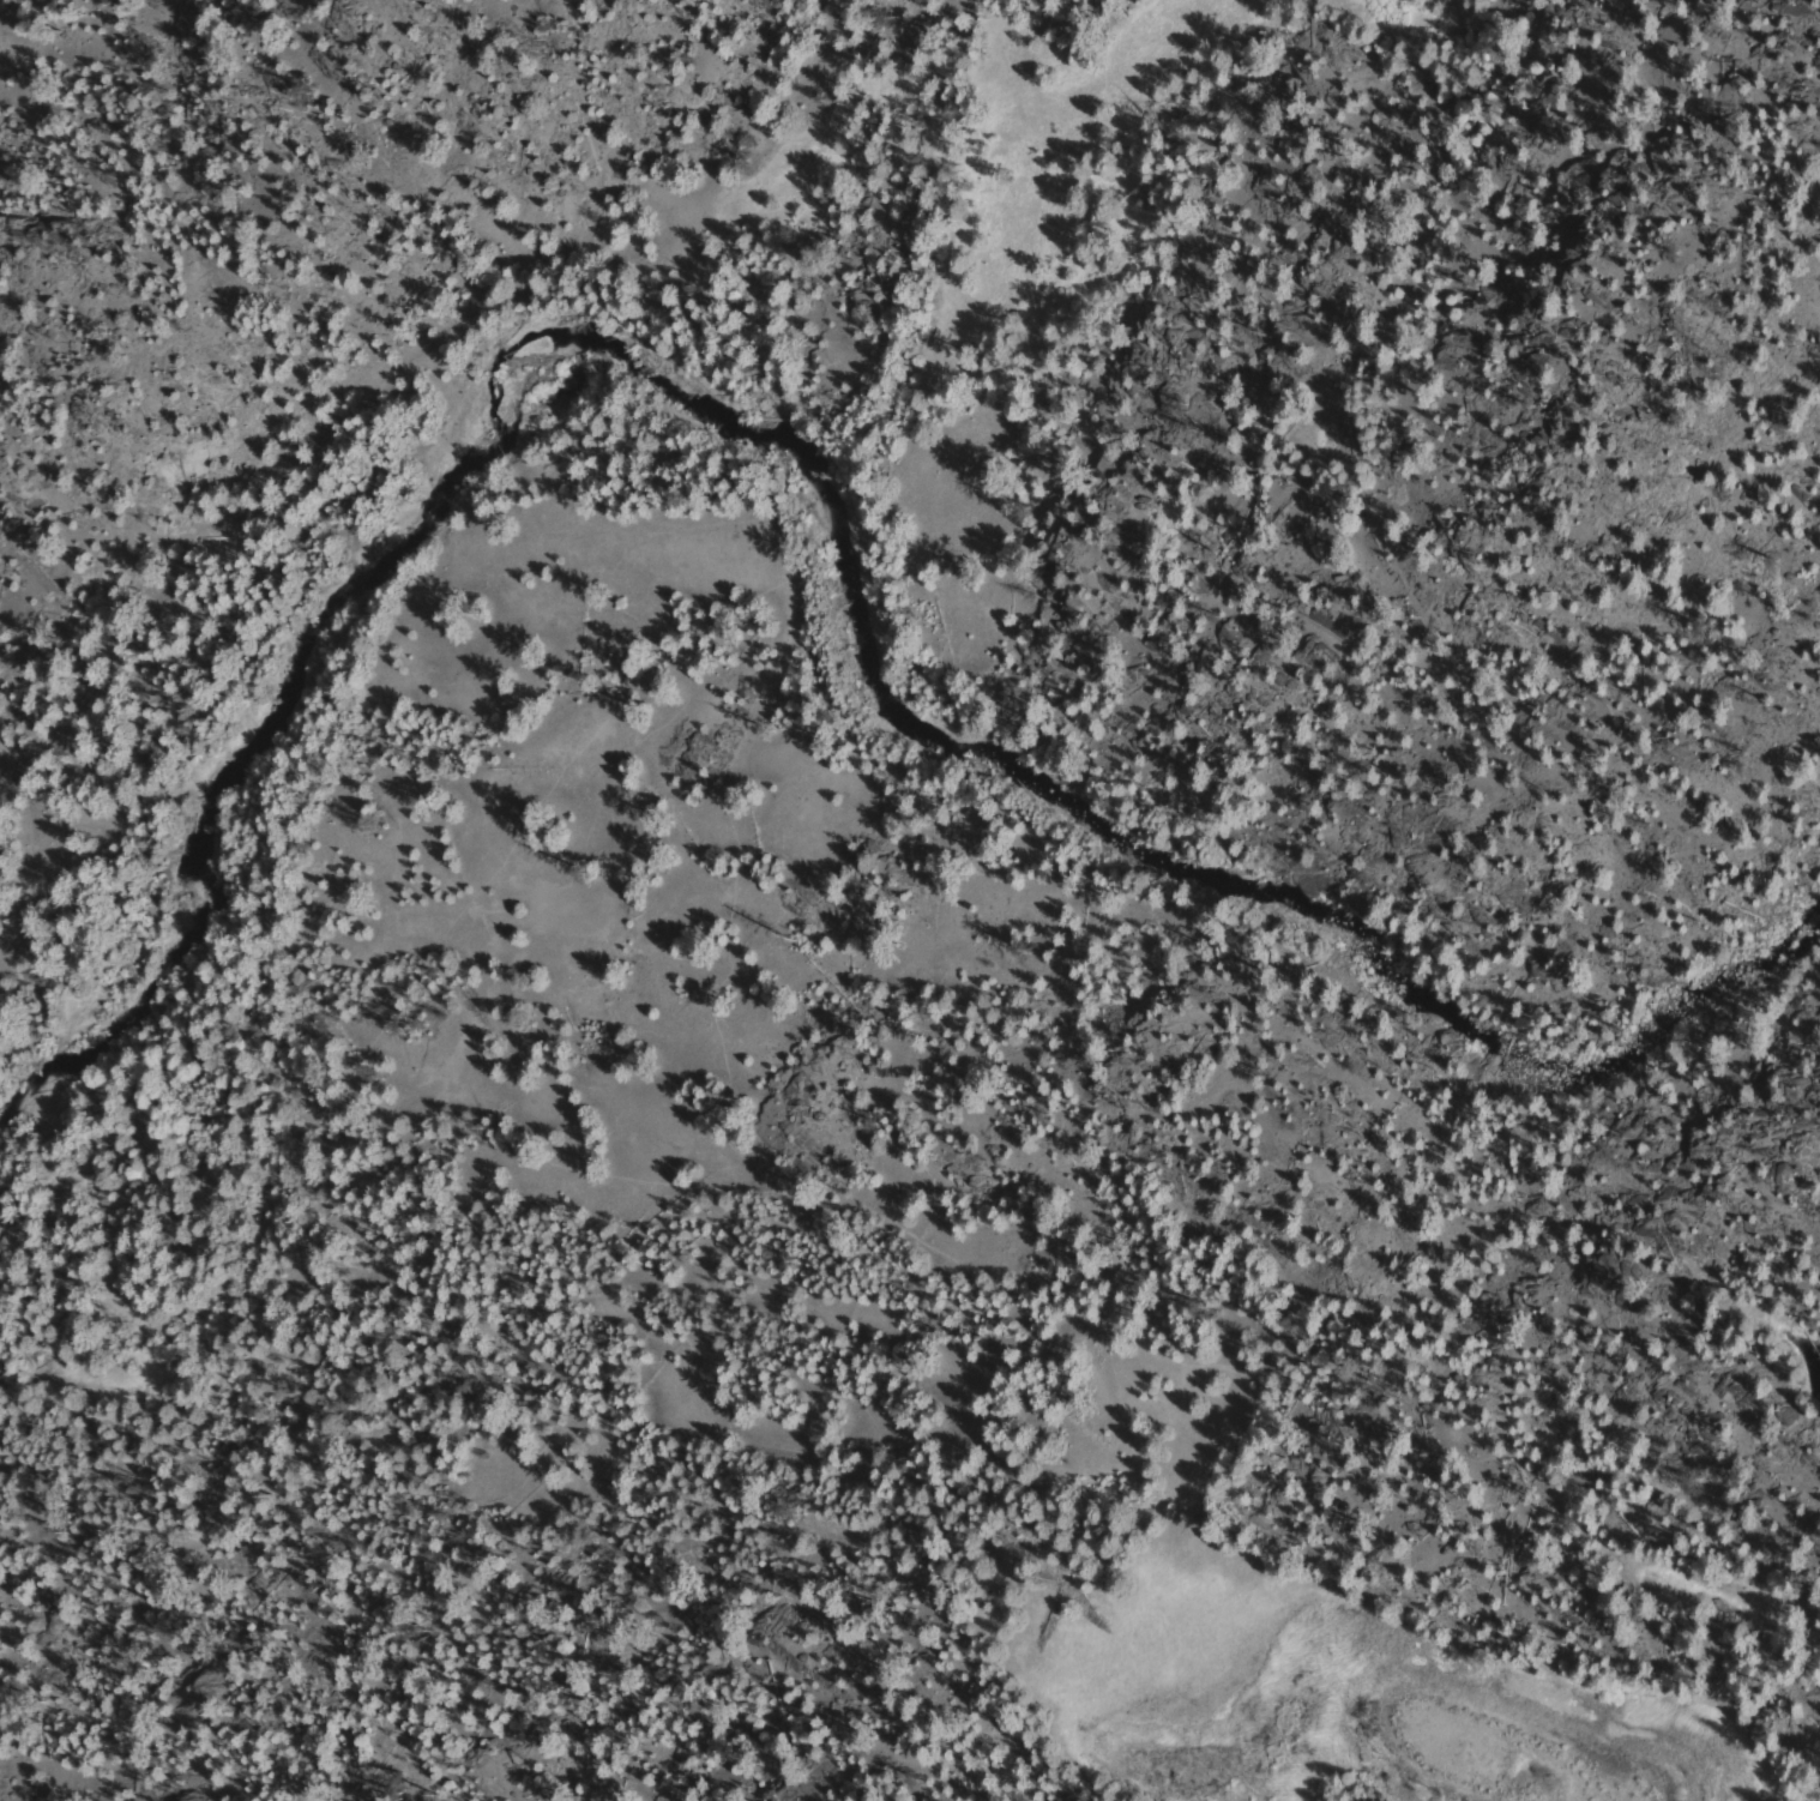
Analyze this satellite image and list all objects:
road: (591, 735)
road: (174, 983)
road: (1097, 1296)

